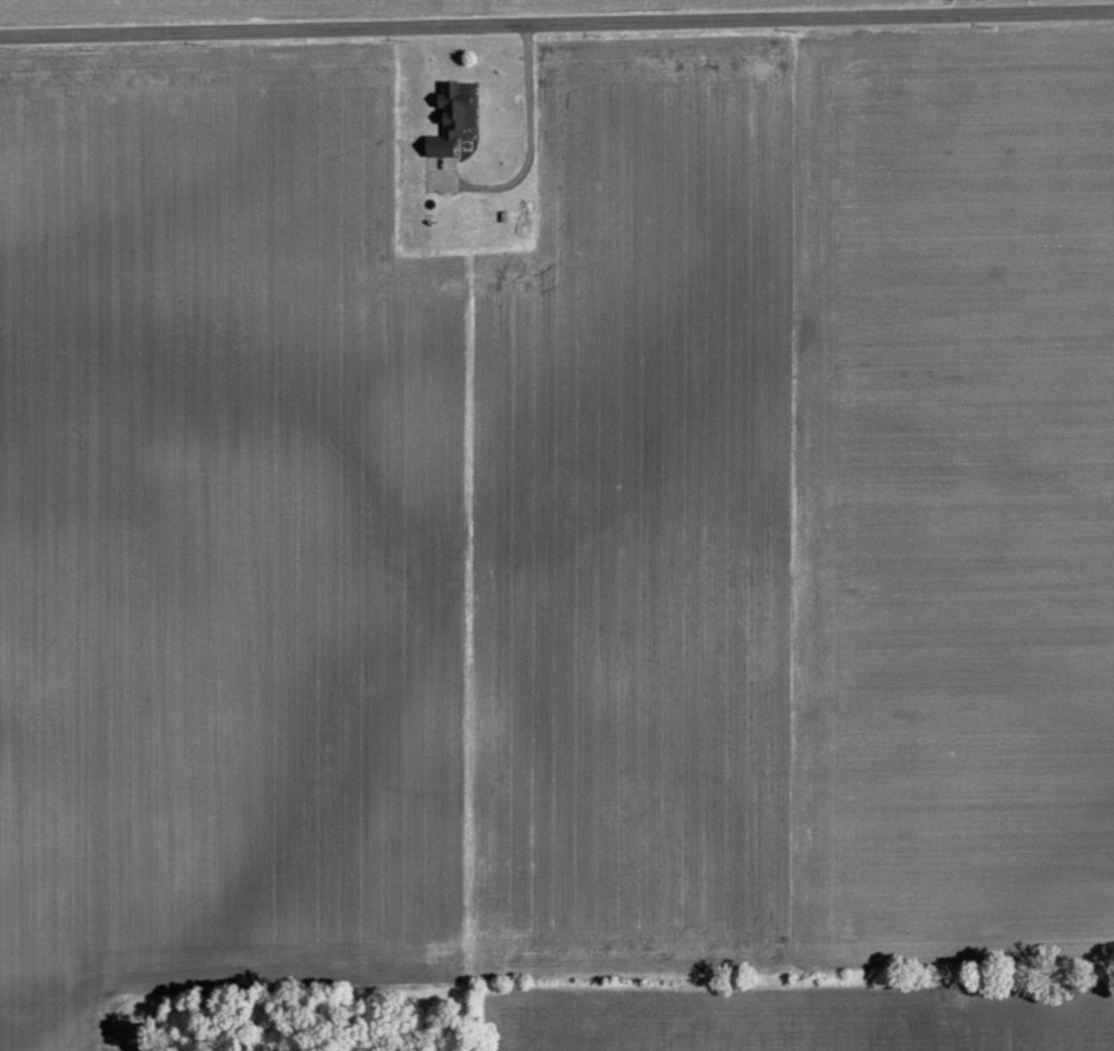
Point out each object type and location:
road: (556, 22)
building: (453, 115)
crop: (564, 547)

